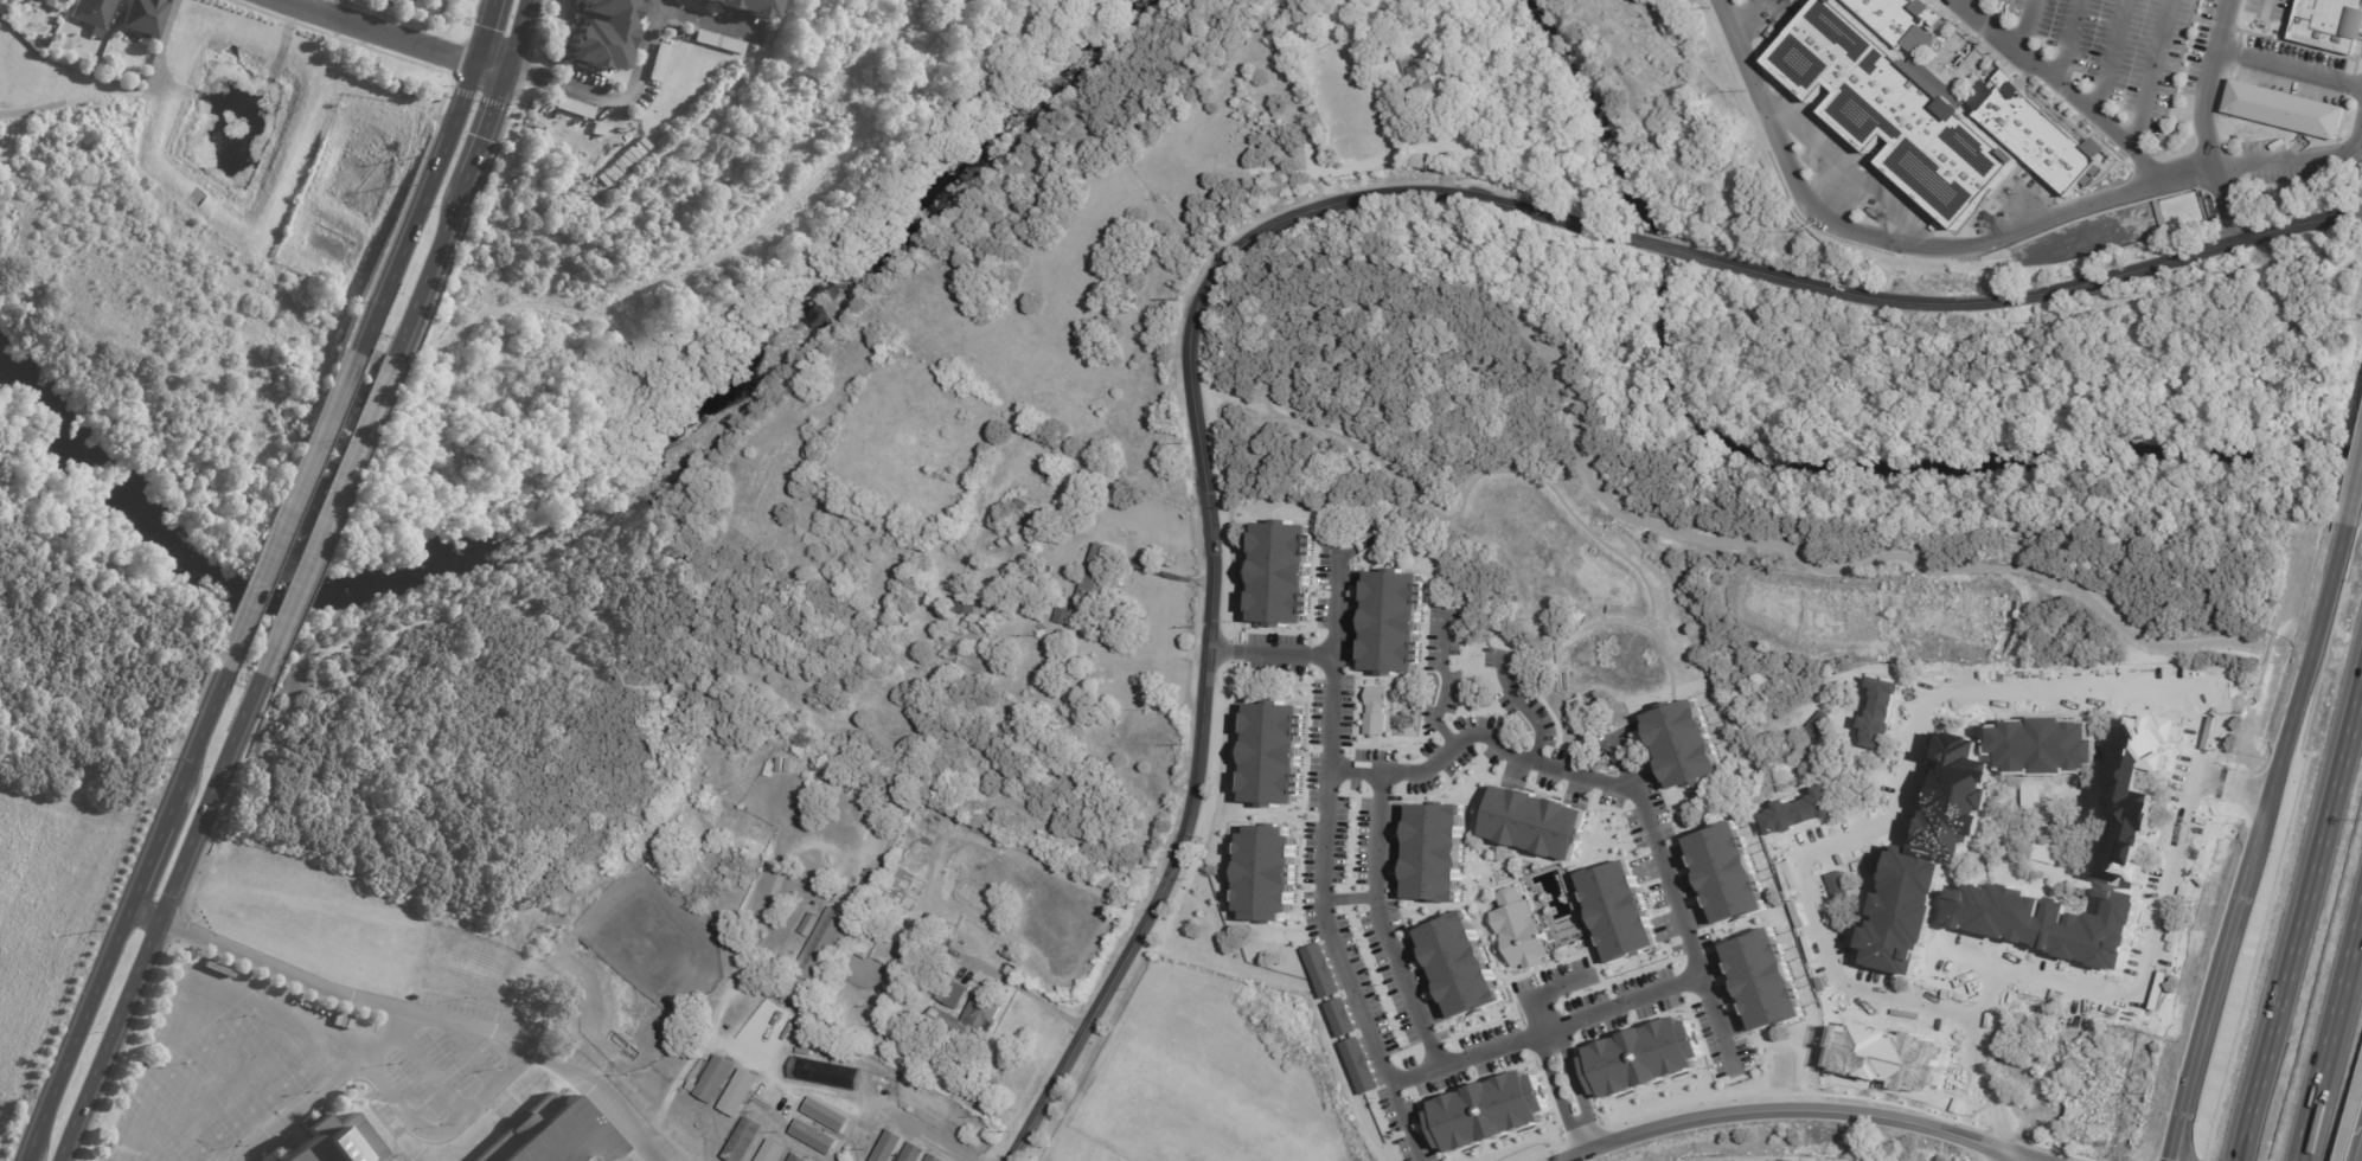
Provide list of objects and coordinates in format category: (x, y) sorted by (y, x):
building: (43, 0)
building: (63, 0)
building: (398, 0)
building: (705, 1)
road: (2266, 5)
road: (316, 6)
road: (1972, 6)
building: (753, 7)
building: (92, 12)
building: (141, 18)
building: (1899, 20)
road: (705, 24)
building: (2329, 24)
road: (2027, 28)
road: (375, 32)
road: (480, 32)
building: (602, 34)
road: (514, 37)
building: (719, 43)
road: (2067, 44)
parking lot: (2112, 54)
fountain: (1961, 56)
road: (2110, 60)
building: (659, 63)
road: (2289, 68)
road: (488, 69)
building: (1420, 76)
road: (2150, 76)
road: (529, 81)
road: (632, 84)
road: (120, 94)
road: (476, 98)
building: (575, 108)
building: (1891, 109)
building: (2289, 110)
road: (2083, 111)
road: (2203, 123)
road: (482, 124)
park: (1705, 124)
building: (2030, 132)
road: (1439, 141)
road: (2306, 154)
road: (409, 216)
road: (1868, 236)
road: (1649, 245)
road: (422, 274)
park: (713, 284)
road: (2012, 295)
park: (143, 333)
park: (2023, 370)
road: (2355, 495)
road: (1206, 511)
road: (282, 520)
road: (321, 524)
building: (1279, 576)
building: (1096, 588)
building: (965, 604)
road: (1337, 605)
building: (1390, 623)
building: (1032, 642)
road: (1270, 653)
road: (1446, 680)
road: (1525, 706)
building: (1876, 708)
building: (1375, 711)
road: (1332, 712)
road: (194, 737)
building: (2044, 738)
building: (1679, 749)
building: (2146, 753)
building: (1269, 755)
road: (1913, 755)
road: (1626, 763)
building: (824, 770)
road: (2238, 783)
road: (1641, 807)
building: (1793, 809)
building: (1532, 825)
road: (2261, 841)
building: (2130, 842)
building: (1929, 849)
building: (1434, 852)
road: (148, 854)
building: (922, 873)
building: (1266, 874)
building: (1723, 875)
building: (900, 886)
building: (1613, 915)
building: (2047, 915)
road: (158, 917)
road: (2299, 917)
building: (928, 921)
road: (167, 923)
road: (1384, 924)
building: (1515, 926)
building: (928, 936)
building: (943, 942)
building: (863, 947)
building: (818, 957)
road: (1964, 957)
building: (1460, 964)
building: (1320, 970)
road: (192, 980)
parking lot: (1554, 983)
building: (1759, 983)
building: (923, 984)
road: (1019, 988)
road: (1544, 990)
building: (952, 994)
road: (1361, 1001)
building: (981, 1015)
road: (450, 1018)
building: (1340, 1018)
road: (1718, 1022)
road: (2328, 1026)
road: (75, 1034)
road: (243, 1045)
road: (300, 1045)
road: (471, 1050)
building: (1890, 1050)
building: (1641, 1058)
parking lot: (315, 1061)
building: (1359, 1066)
road: (429, 1072)
building: (825, 1073)
building: (717, 1080)
road: (1990, 1082)
road: (216, 1083)
road: (324, 1085)
road: (1580, 1085)
road: (1963, 1091)
building: (741, 1093)
road: (1556, 1093)
road: (1778, 1111)
road: (756, 1114)
building: (1484, 1115)
road: (188, 1116)
building: (827, 1116)
road: (1402, 1122)
road: (446, 1127)
road: (914, 1128)
building: (550, 1135)
building: (814, 1138)
road: (2184, 1138)
road: (151, 1140)
building: (745, 1141)
building: (334, 1142)
road: (843, 1142)
building: (889, 1148)
road: (1992, 1148)
road: (850, 1149)
building: (773, 1152)
building: (914, 1154)
road: (1999, 1156)
road: (2015, 1156)
building: (798, 1159)
building: (935, 1159)

